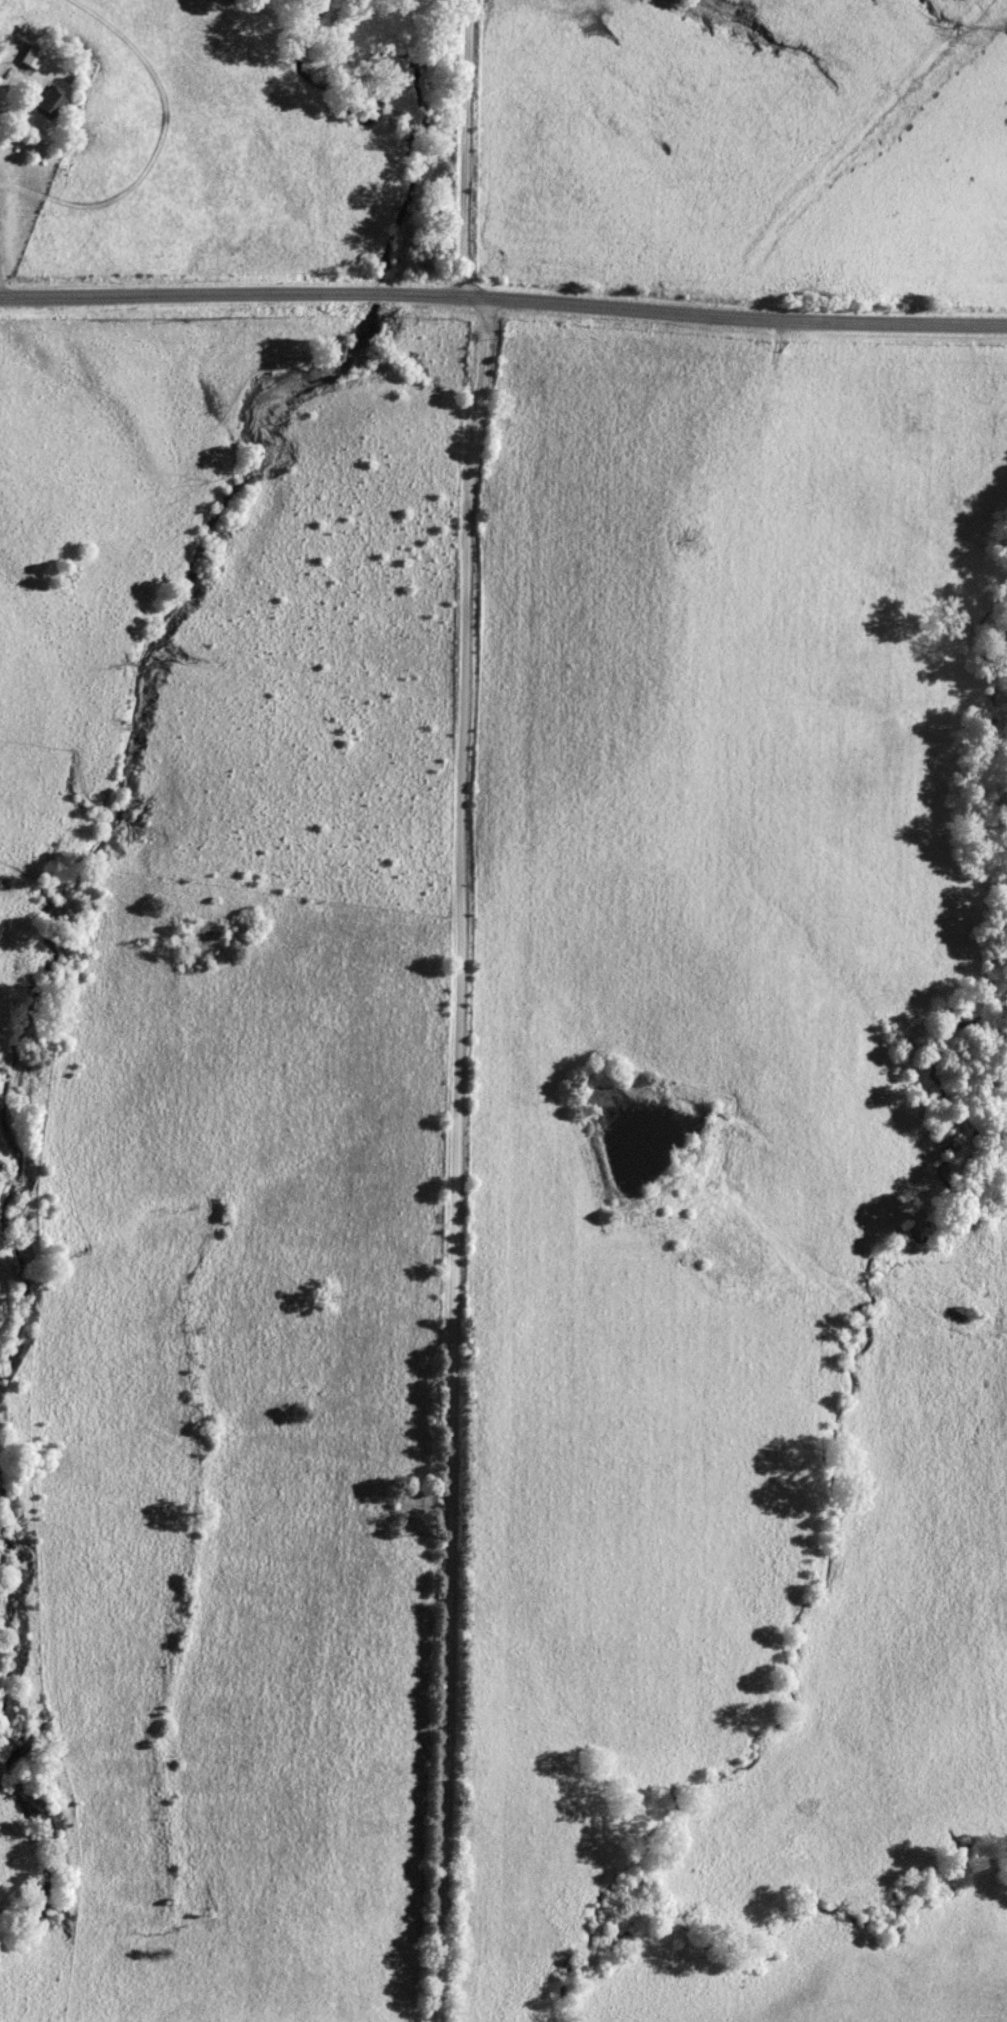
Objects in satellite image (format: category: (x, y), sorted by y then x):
building: (32, 57)
road: (34, 91)
building: (51, 104)
road: (467, 147)
road: (155, 154)
road: (503, 299)
road: (452, 1159)
park: (413, 1505)

